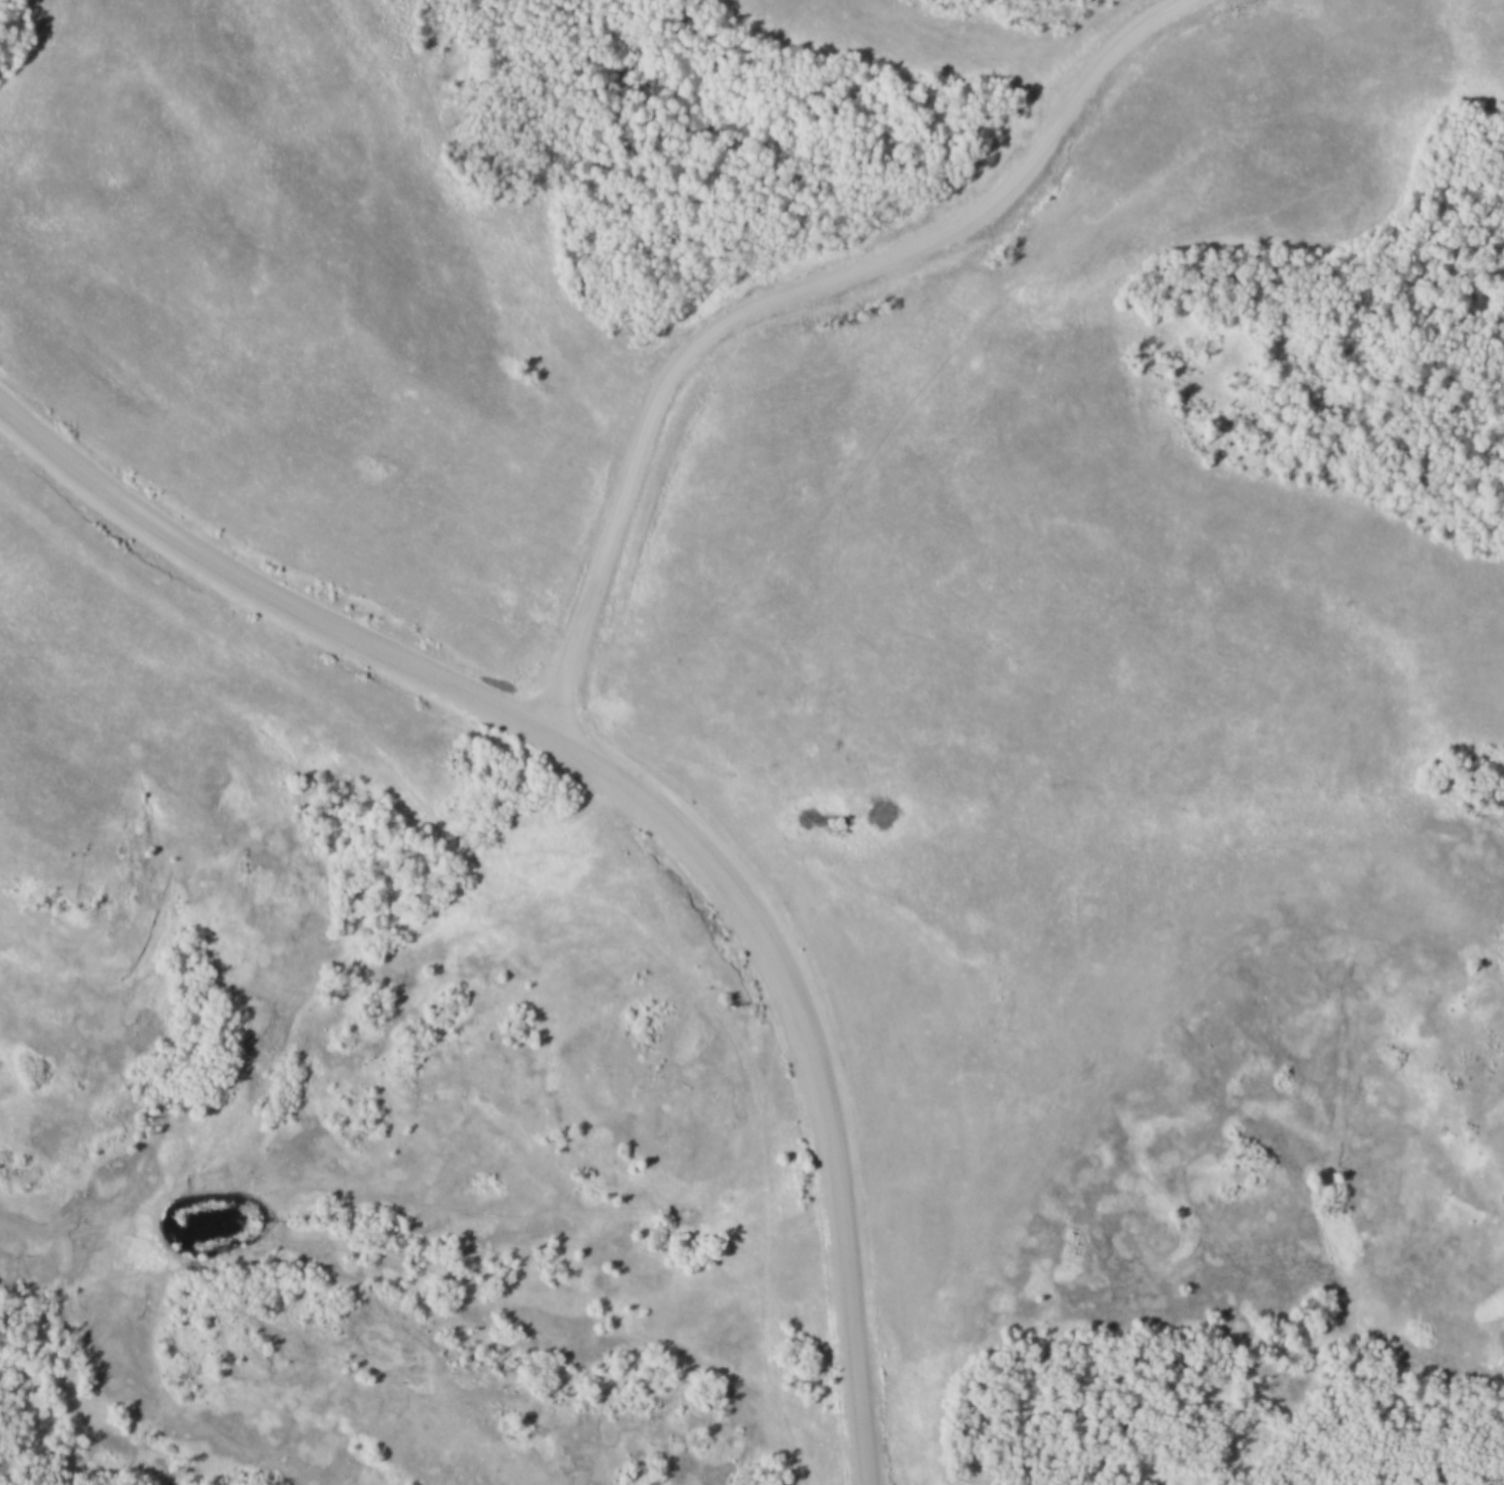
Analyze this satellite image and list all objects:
road: (981, 325)
road: (636, 797)

